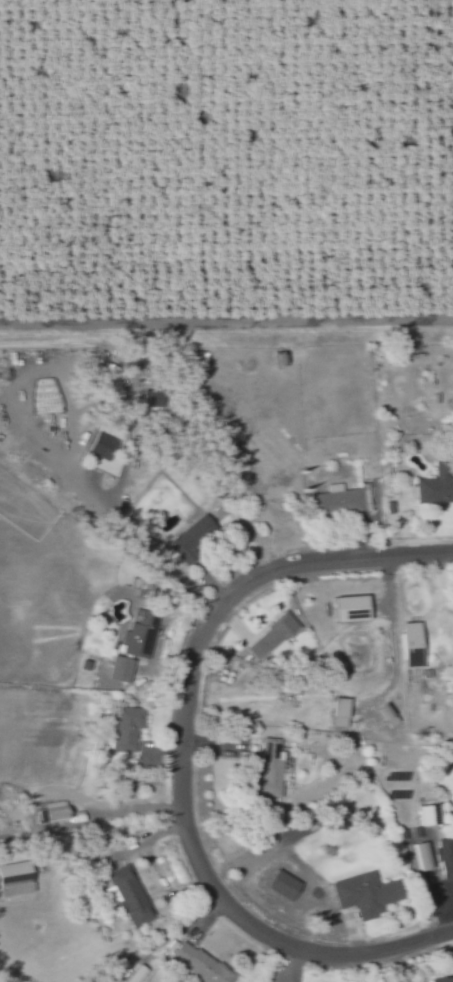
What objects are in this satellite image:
crop: (223, 167)
building: (146, 398)
building: (100, 446)
building: (434, 488)
building: (339, 501)
building: (192, 534)
road: (138, 535)
building: (347, 609)
building: (270, 637)
building: (407, 646)
building: (132, 647)
building: (338, 712)
building: (385, 715)
building: (125, 728)
road: (176, 750)
building: (269, 769)
building: (53, 812)
building: (428, 815)
building: (422, 856)
building: (445, 858)
building: (14, 884)
building: (281, 885)
building: (364, 894)
building: (129, 896)
building: (194, 962)
building: (444, 979)

